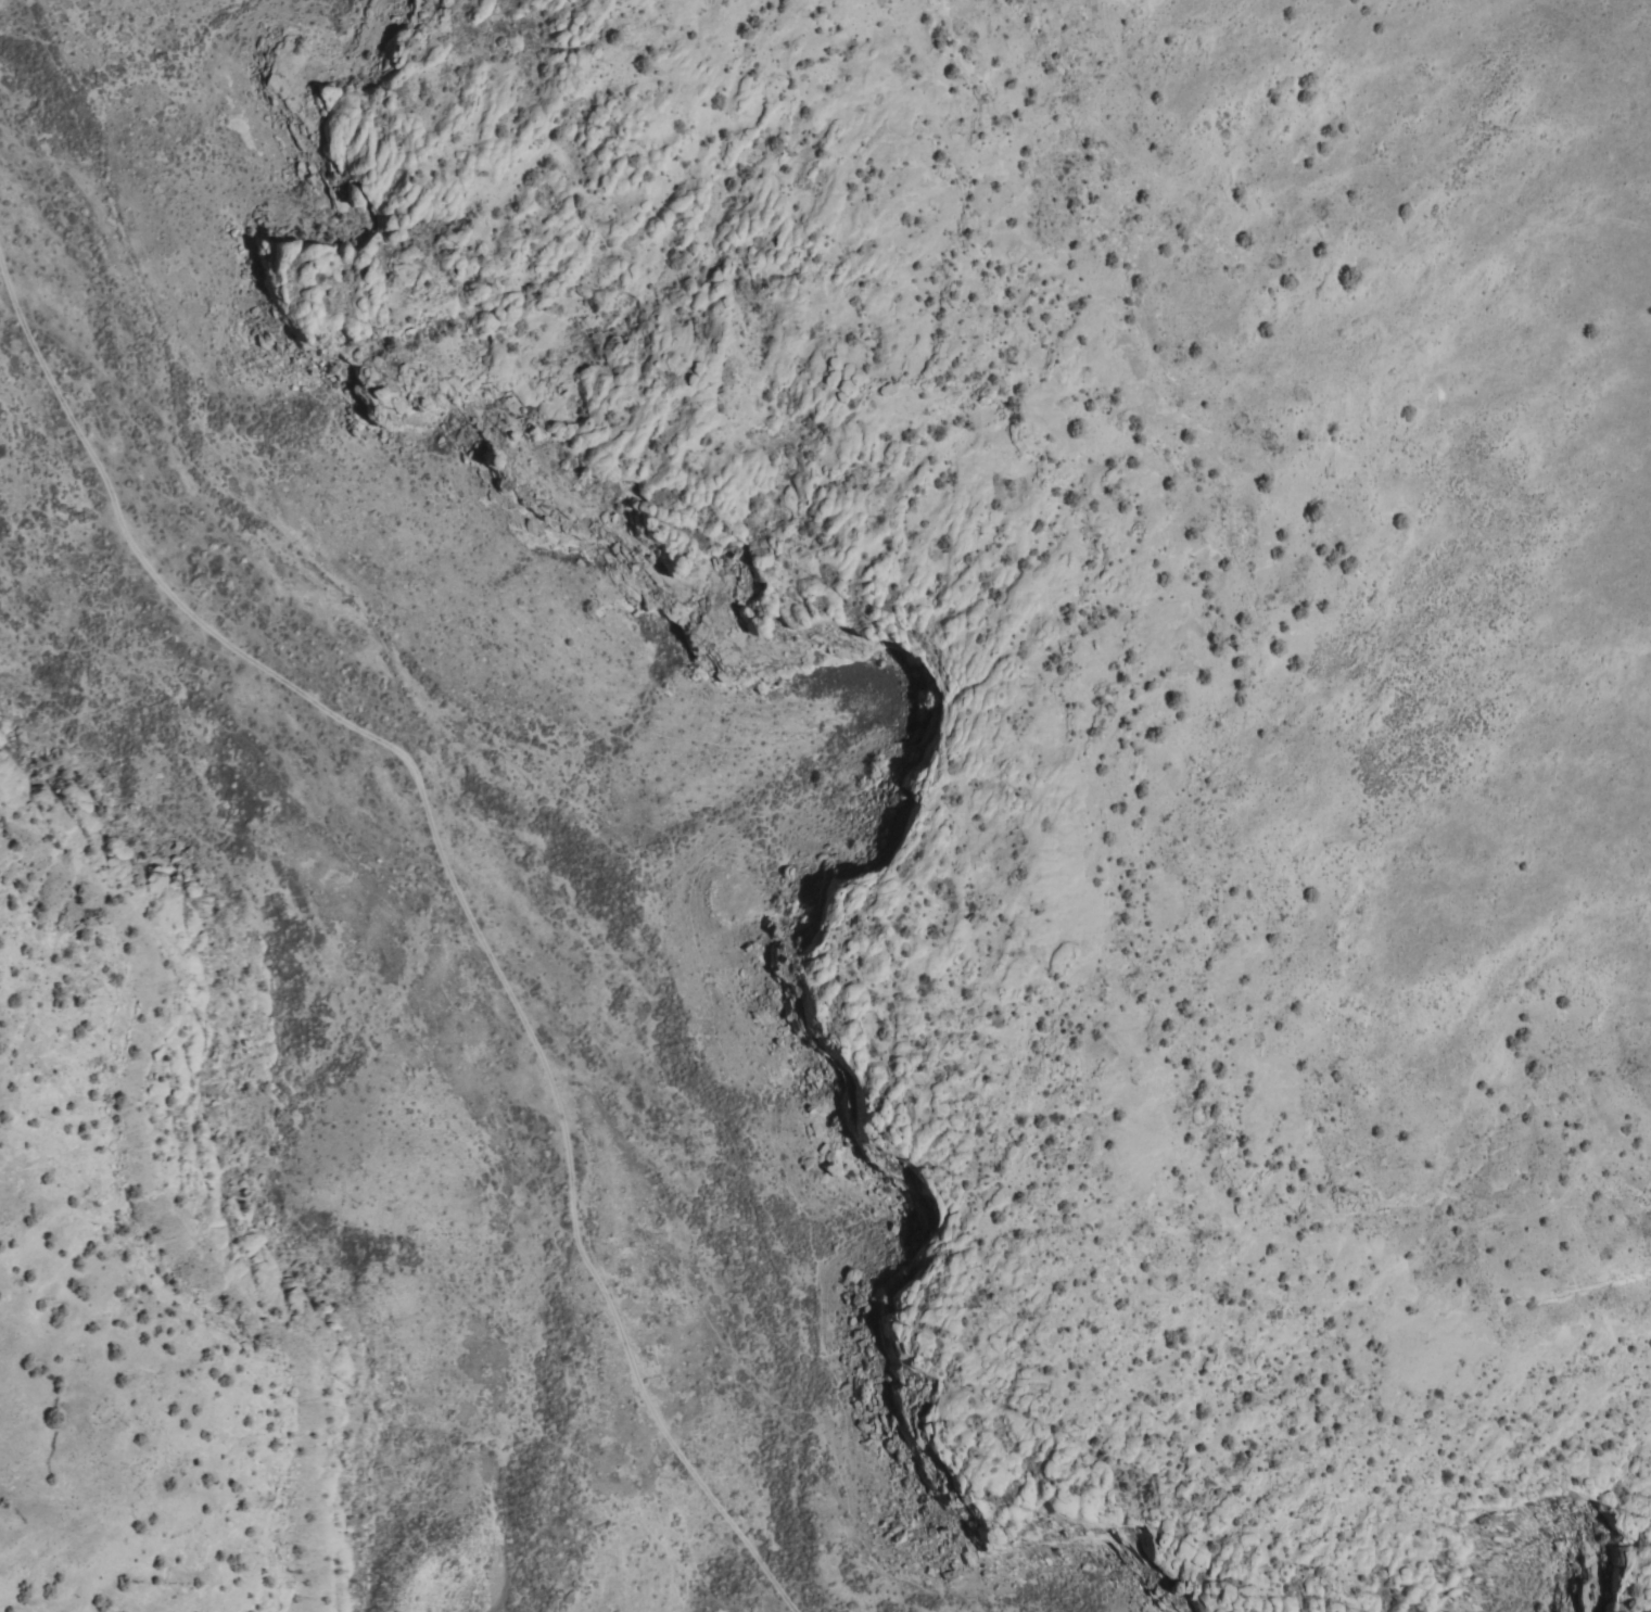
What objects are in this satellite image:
road: (558, 769)
river: (435, 858)
river: (722, 1589)

